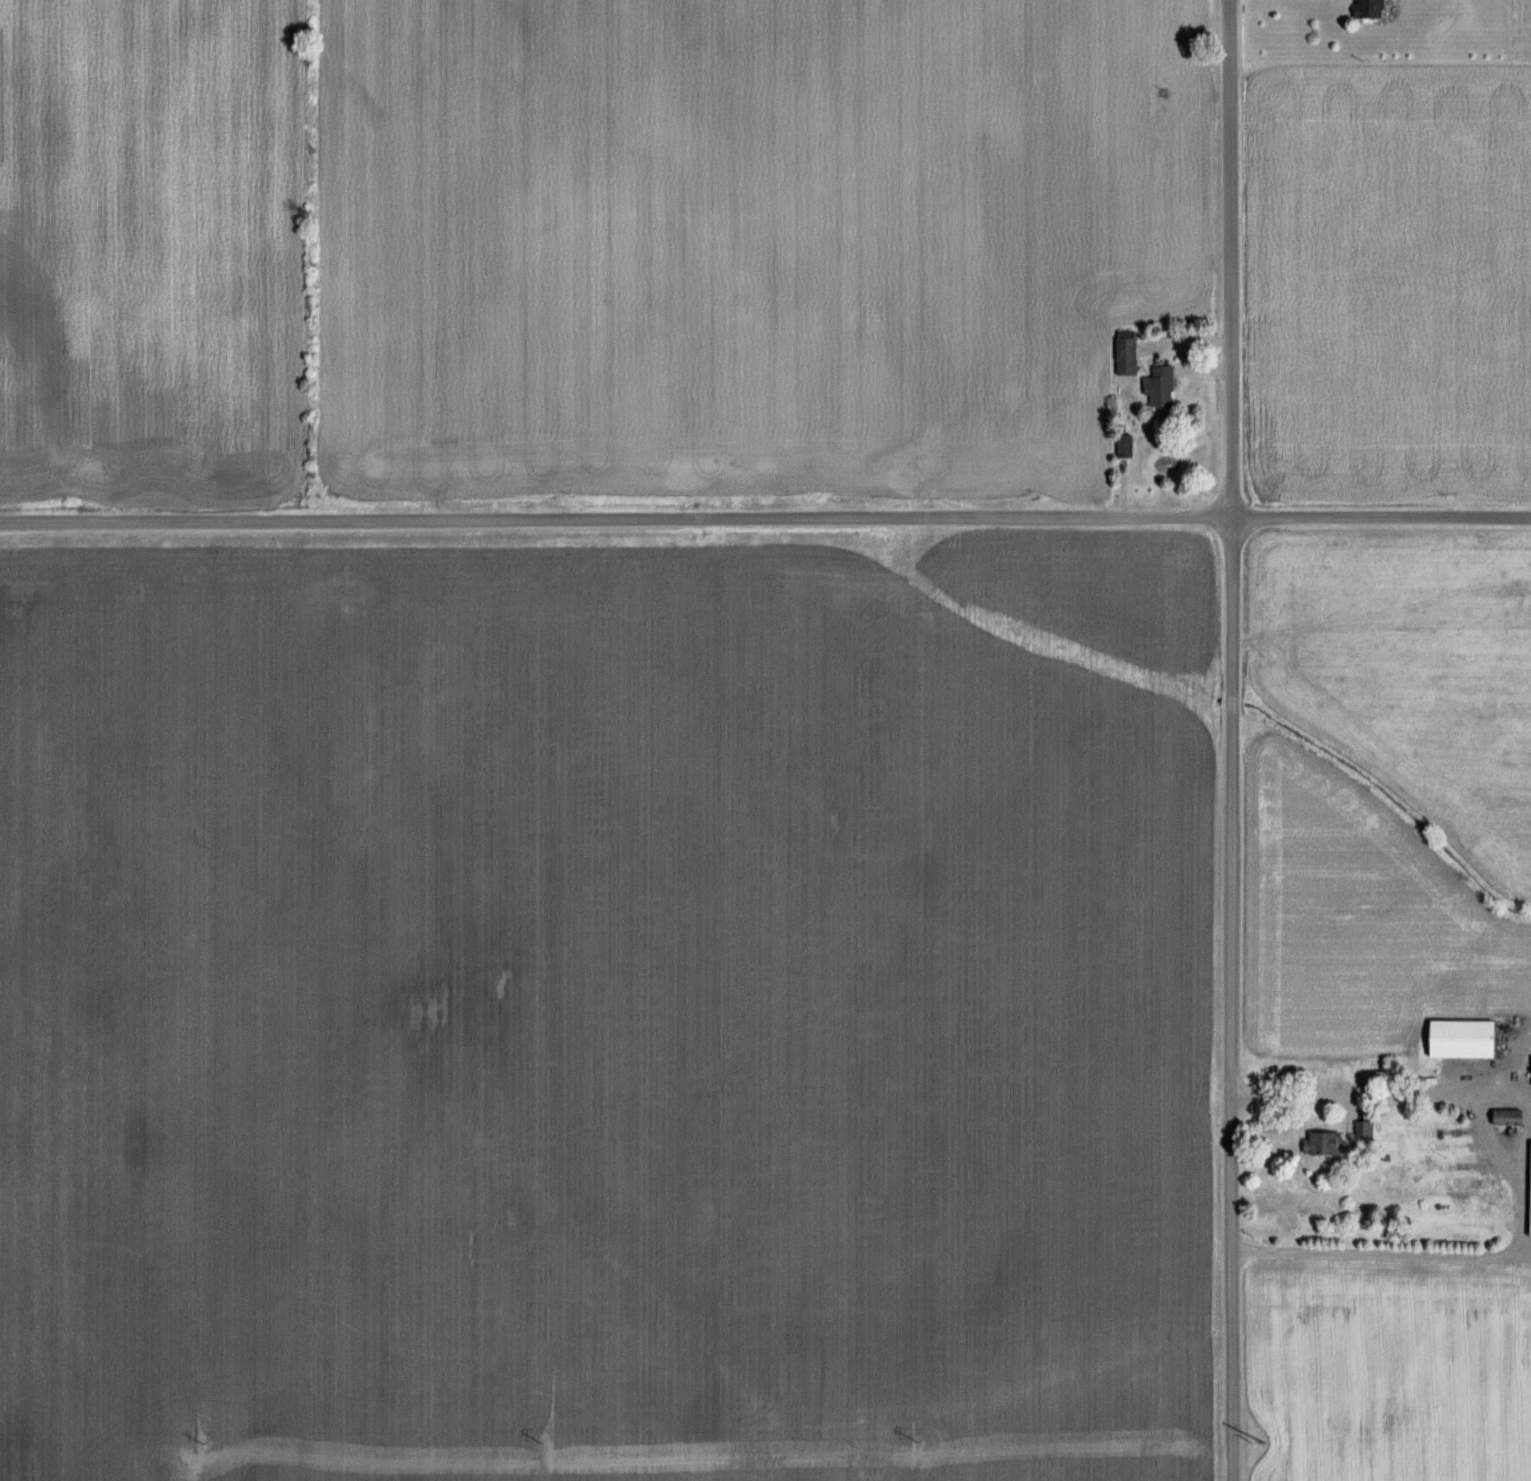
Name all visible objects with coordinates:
building: (1373, 9)
building: (1128, 353)
building: (1162, 386)
building: (1127, 445)
road: (765, 519)
road: (1234, 740)
building: (1466, 1037)
building: (1512, 1116)
building: (1365, 1129)
building: (1326, 1141)
road: (1525, 1190)
road: (1527, 1251)

